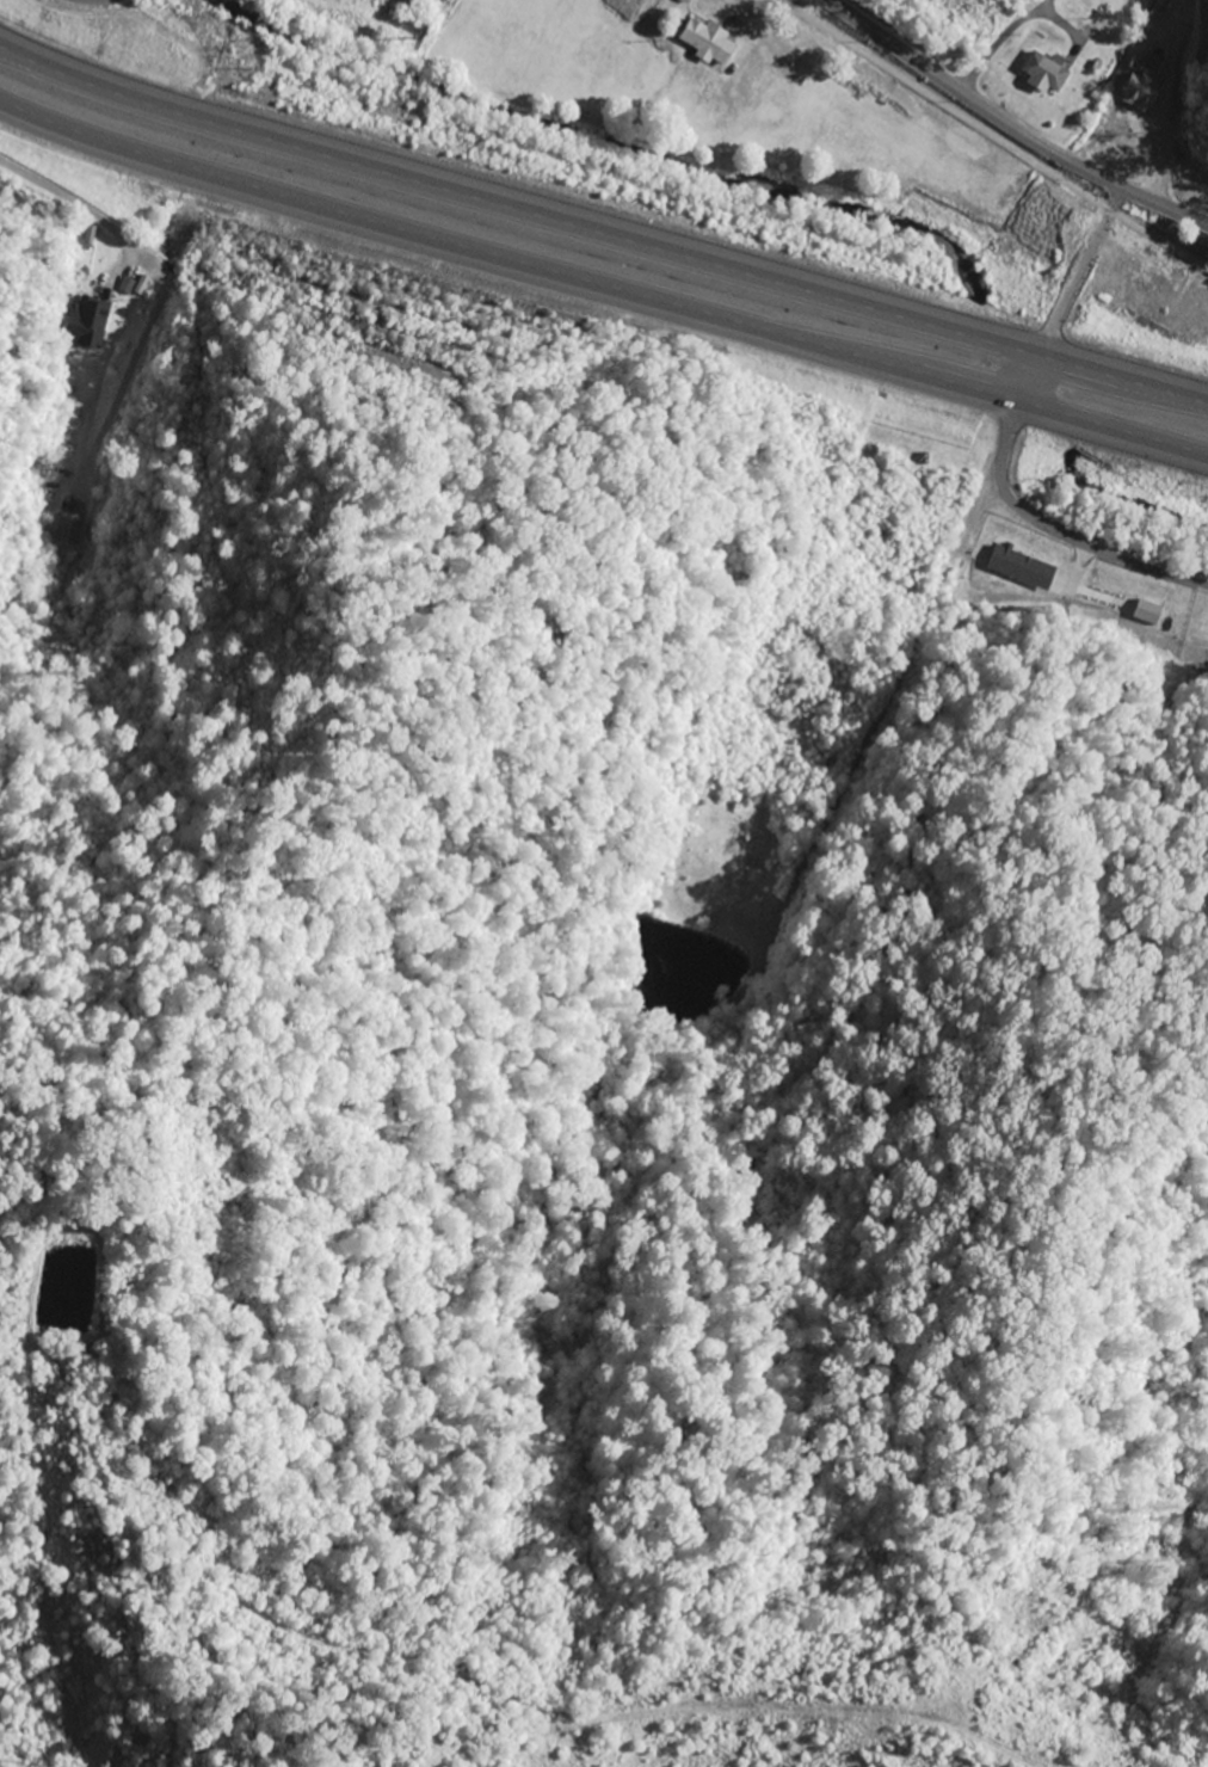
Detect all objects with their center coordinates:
road: (95, 0)
building: (708, 41)
building: (1046, 72)
building: (1136, 98)
road: (1005, 129)
road: (991, 133)
road: (602, 239)
road: (602, 289)
road: (997, 444)
building: (1005, 567)

